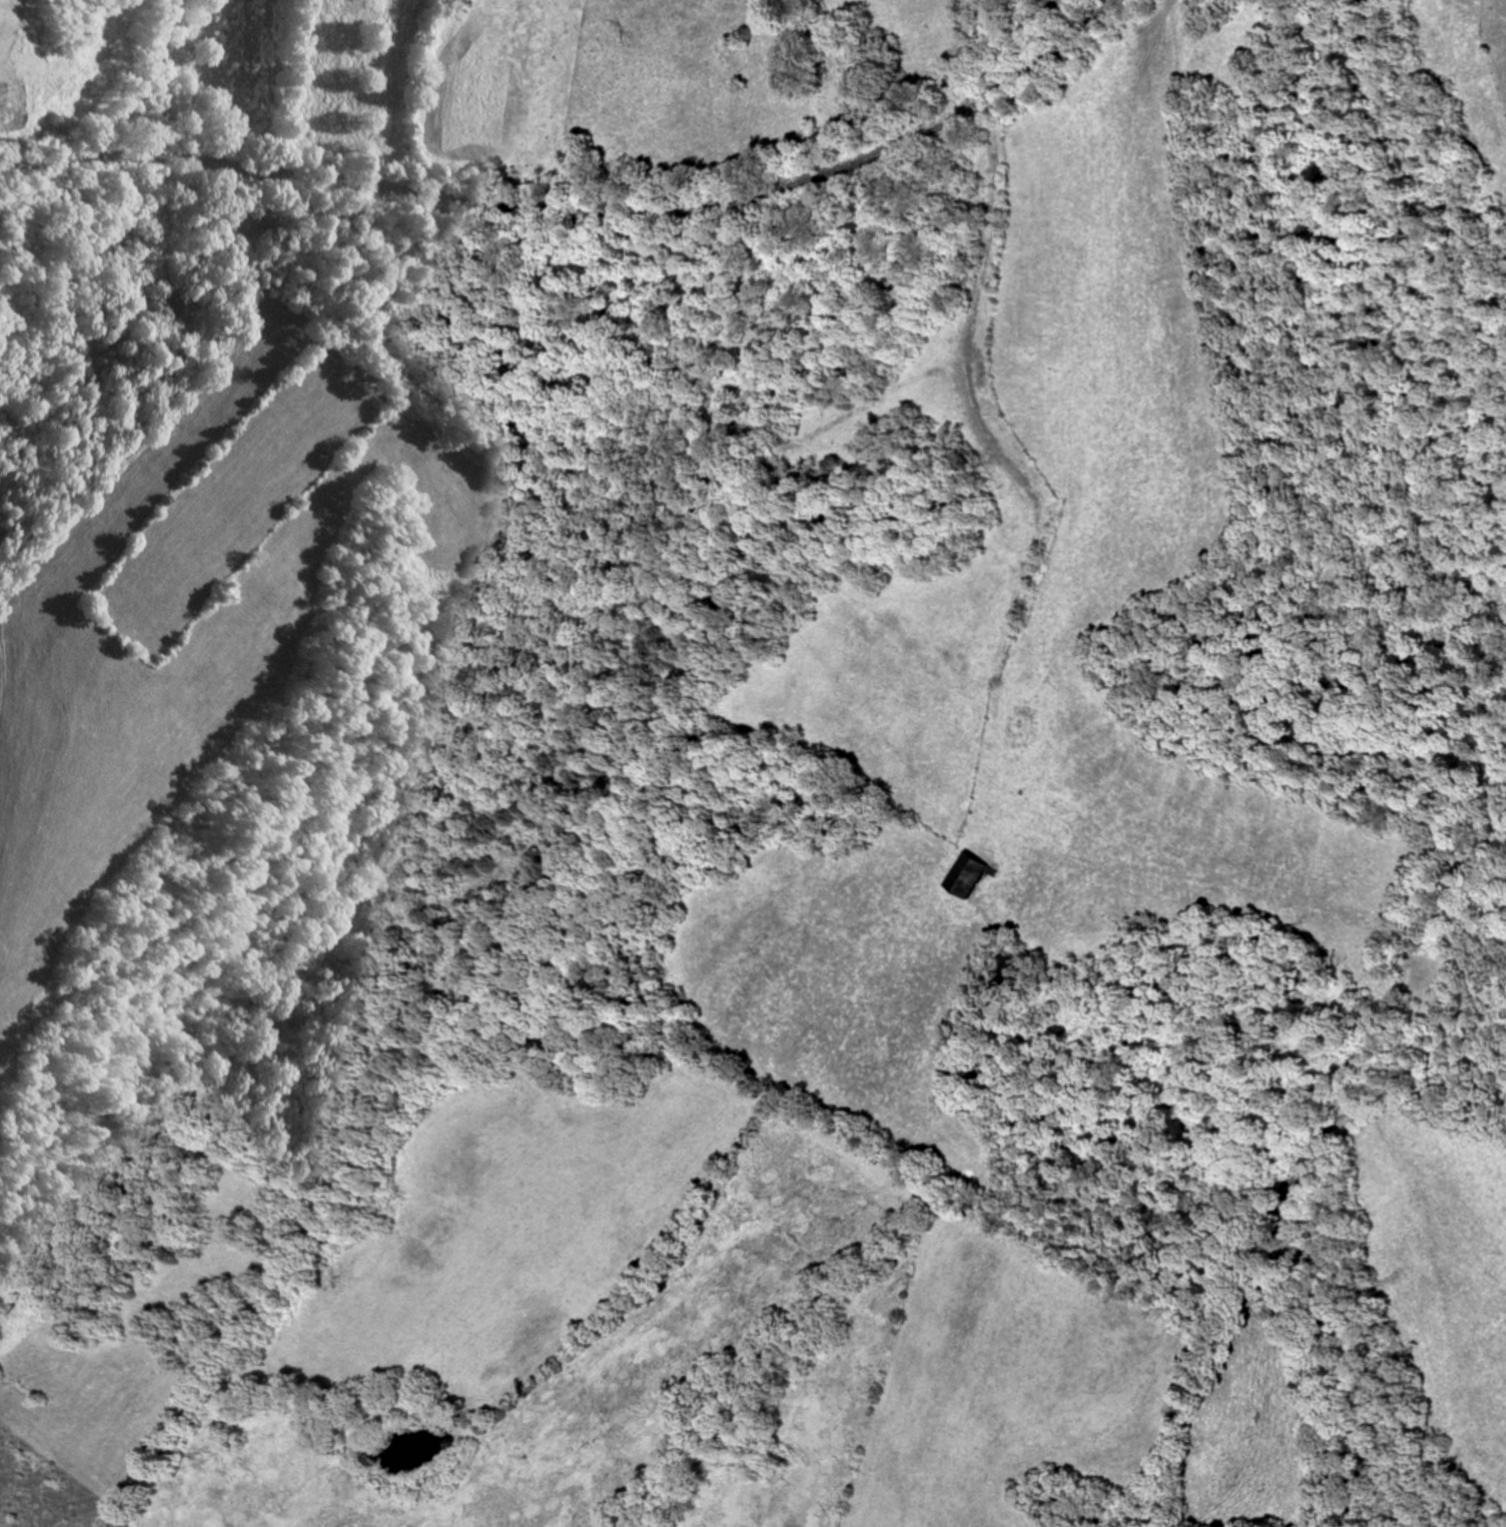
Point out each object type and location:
railway: (573, 191)
building: (974, 872)

